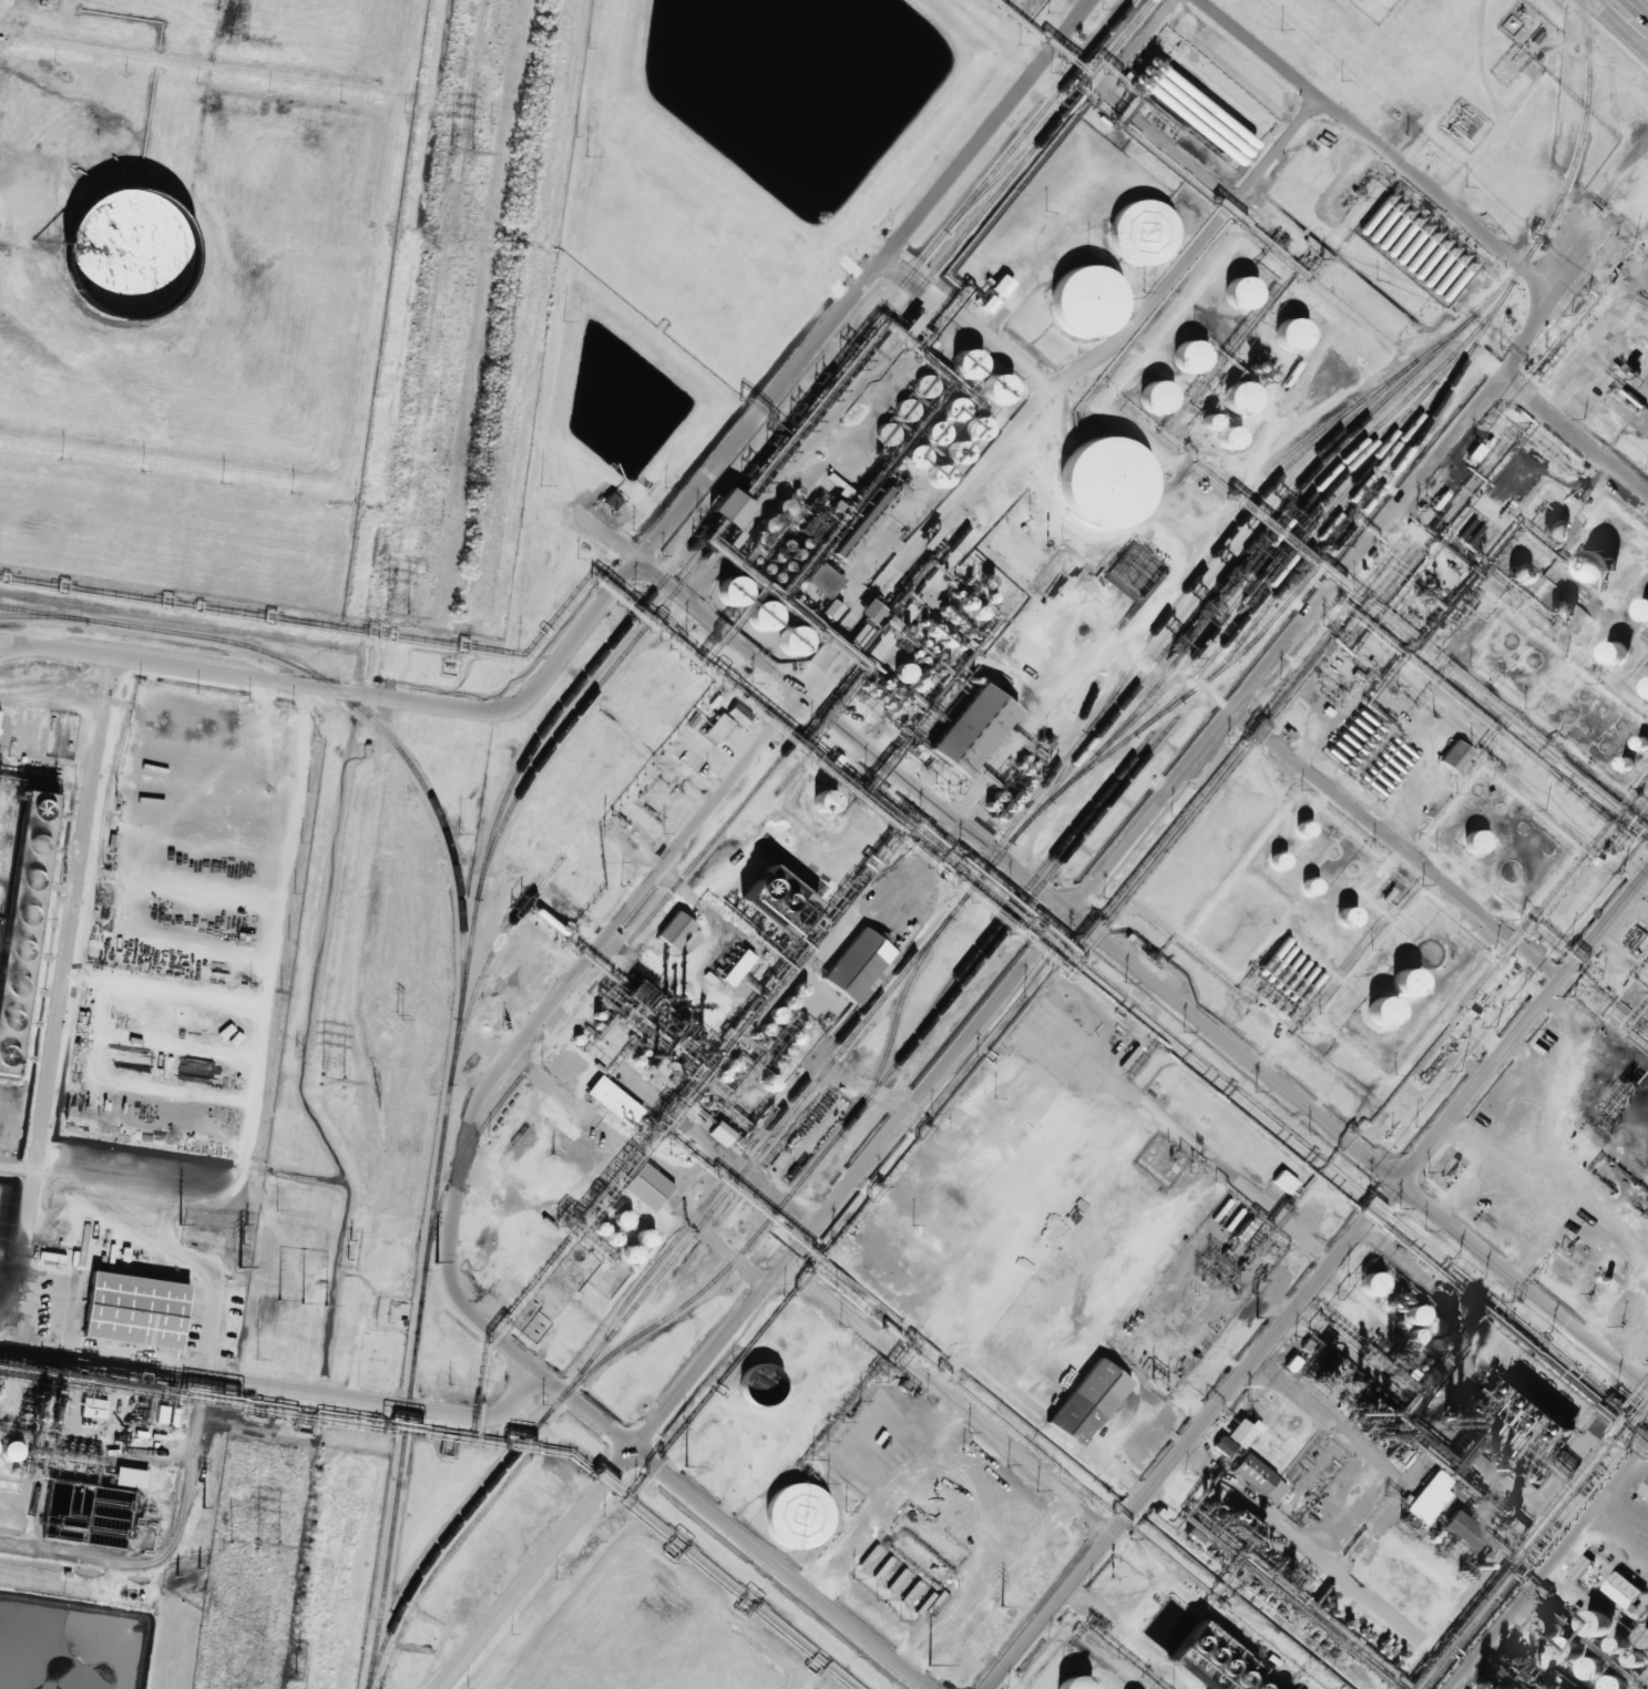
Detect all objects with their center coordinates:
road: (1629, 16)
road: (1128, 110)
power tower: (461, 152)
railway: (1016, 157)
building: (1640, 216)
building: (1137, 231)
storage tank: (1137, 231)
building: (1403, 254)
building: (119, 256)
storage tank: (119, 256)
road: (863, 278)
building: (1429, 278)
building: (1001, 285)
building: (1437, 287)
building: (1232, 295)
storage tank: (1232, 295)
building: (1079, 301)
storage tank: (1079, 301)
road: (965, 320)
building: (1283, 337)
storage tank: (1283, 337)
building: (1181, 359)
storage tank: (1181, 359)
building: (966, 364)
building: (997, 389)
building: (915, 397)
building: (1150, 398)
storage tank: (1150, 398)
building: (1232, 400)
storage tank: (1232, 400)
building: (1211, 421)
building: (888, 431)
road: (1575, 433)
railway: (798, 438)
building: (1229, 438)
building: (1476, 452)
building: (914, 457)
building: (1097, 487)
storage tank: (1097, 487)
building: (611, 500)
building: (730, 508)
building: (776, 514)
railway: (1331, 524)
building: (811, 525)
building: (1555, 531)
railway: (1277, 534)
railway: (1289, 539)
building: (848, 544)
railway: (1210, 557)
railway: (1289, 561)
building: (1144, 564)
building: (1597, 565)
railway: (1231, 566)
railway: (1216, 573)
building: (1519, 574)
building: (723, 587)
storage tank: (723, 587)
railway: (1282, 607)
building: (1641, 607)
storage tank: (1641, 607)
building: (832, 610)
building: (871, 611)
building: (1564, 611)
building: (979, 613)
building: (754, 615)
storage tank: (754, 615)
railway: (43, 616)
power tower: (396, 618)
building: (785, 639)
storage tank: (785, 639)
road: (1, 642)
building: (1607, 652)
storage tank: (1607, 652)
road: (1165, 665)
building: (898, 672)
storage tank: (898, 672)
building: (1646, 686)
storage tank: (1646, 686)
road: (351, 692)
railway: (344, 696)
road: (1238, 703)
building: (969, 725)
building: (719, 727)
railway: (530, 747)
building: (1455, 756)
building: (1626, 764)
building: (826, 802)
building: (1304, 829)
railway: (1003, 839)
road: (1399, 842)
building: (1475, 842)
building: (1279, 859)
building: (1310, 887)
railway: (671, 891)
railway: (1017, 897)
building: (777, 899)
road: (632, 903)
building: (22, 913)
building: (1347, 917)
building: (676, 930)
road: (1114, 946)
building: (17, 951)
railway: (488, 961)
building: (854, 965)
building: (737, 968)
building: (1398, 985)
storage tank: (1398, 985)
building: (644, 997)
building: (1373, 1015)
storage tank: (1373, 1015)
building: (7, 1020)
railway: (895, 1021)
power tower: (331, 1082)
building: (771, 1083)
railway: (877, 1086)
building: (614, 1101)
railway: (762, 1122)
building: (712, 1133)
building: (544, 1177)
building: (1283, 1181)
building: (644, 1183)
building: (622, 1219)
building: (637, 1237)
storage tank: (637, 1237)
building: (613, 1239)
building: (625, 1255)
storage tank: (625, 1255)
road: (1318, 1280)
building: (1370, 1283)
building: (1457, 1303)
building: (131, 1308)
building: (1414, 1314)
building: (535, 1327)
building: (1432, 1327)
road: (275, 1380)
road: (199, 1394)
road: (950, 1398)
building: (1085, 1398)
building: (94, 1407)
building: (1504, 1411)
building: (1239, 1432)
building: (1222, 1446)
building: (4, 1454)
storage tank: (4, 1454)
building: (130, 1477)
building: (1258, 1478)
building: (1645, 1484)
building: (790, 1514)
storage tank: (790, 1514)
building: (1458, 1528)
power tower: (267, 1546)
building: (921, 1559)
road: (1548, 1566)
road: (532, 1568)
building: (1620, 1585)
building: (1597, 1623)
building: (1537, 1628)
storage tank: (1537, 1628)
building: (1160, 1631)
building: (1646, 1637)
building: (1618, 1645)
building: (1563, 1649)
storage tank: (1563, 1649)
building: (1207, 1651)
building: (1508, 1665)
building: (1585, 1666)
storage tank: (1585, 1666)
railway: (1411, 1669)
building: (1608, 1681)
storage tank: (1608, 1681)
building: (1065, 1685)
storage tank: (1065, 1685)

